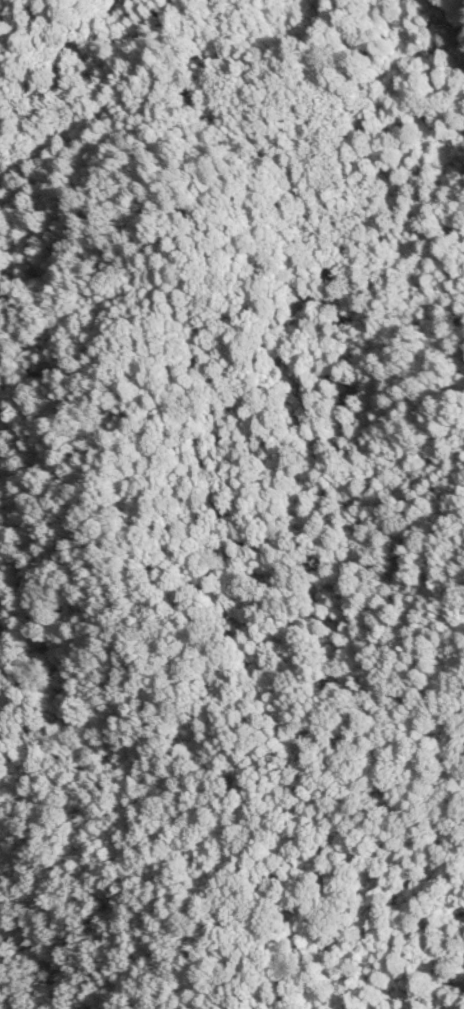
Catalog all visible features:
road: (25, 972)

